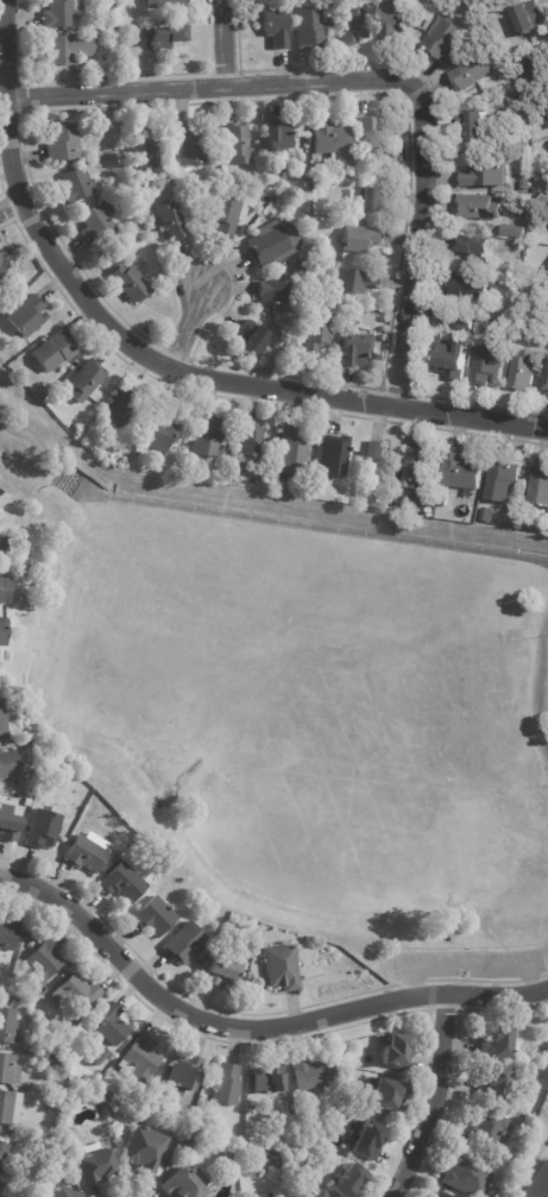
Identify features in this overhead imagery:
building: (165, 2)
building: (62, 12)
building: (525, 19)
building: (393, 20)
building: (352, 25)
building: (276, 26)
building: (309, 29)
building: (165, 34)
building: (442, 39)
road: (225, 42)
building: (67, 48)
building: (120, 49)
building: (535, 68)
building: (88, 71)
building: (468, 76)
road: (221, 83)
building: (547, 105)
building: (547, 112)
building: (472, 126)
building: (372, 136)
building: (277, 138)
road: (17, 140)
building: (330, 140)
building: (62, 144)
building: (235, 144)
building: (188, 149)
building: (144, 151)
building: (540, 166)
building: (317, 171)
building: (484, 177)
building: (166, 178)
building: (75, 187)
building: (303, 190)
building: (372, 200)
road: (13, 208)
building: (478, 208)
building: (223, 215)
building: (170, 222)
building: (96, 223)
building: (511, 229)
building: (360, 239)
building: (272, 244)
building: (475, 248)
road: (415, 256)
building: (113, 267)
building: (2, 275)
building: (353, 282)
building: (130, 284)
building: (467, 291)
building: (270, 292)
building: (491, 296)
building: (512, 300)
building: (352, 315)
building: (26, 316)
building: (465, 325)
building: (533, 330)
road: (191, 332)
building: (315, 338)
building: (254, 339)
building: (52, 351)
building: (355, 352)
building: (451, 360)
building: (489, 365)
building: (521, 371)
building: (84, 379)
building: (547, 390)
road: (284, 395)
building: (120, 407)
building: (160, 429)
building: (207, 435)
building: (248, 441)
building: (294, 451)
building: (334, 455)
building: (376, 458)
building: (461, 472)
building: (417, 474)
building: (500, 480)
building: (538, 486)
building: (392, 496)
building: (487, 514)
building: (4, 546)
building: (25, 566)
building: (5, 587)
building: (2, 629)
building: (2, 722)
park: (300, 725)
building: (8, 762)
building: (27, 800)
building: (7, 821)
building: (43, 827)
building: (87, 851)
building: (122, 881)
building: (155, 916)
building: (8, 932)
building: (184, 943)
building: (250, 947)
building: (11, 960)
building: (44, 960)
building: (281, 965)
road: (472, 968)
building: (221, 972)
building: (76, 991)
building: (7, 1023)
building: (109, 1025)
road: (248, 1028)
building: (498, 1040)
building: (396, 1050)
building: (100, 1057)
building: (141, 1058)
building: (51, 1061)
building: (8, 1069)
building: (184, 1072)
building: (311, 1072)
building: (269, 1079)
building: (493, 1081)
building: (226, 1083)
building: (384, 1092)
building: (124, 1097)
road: (435, 1097)
building: (52, 1104)
building: (10, 1107)
building: (185, 1117)
building: (484, 1129)
building: (327, 1135)
building: (190, 1139)
building: (369, 1141)
building: (1, 1146)
building: (145, 1149)
building: (239, 1151)
building: (283, 1159)
building: (92, 1165)
building: (467, 1174)
building: (31, 1178)
building: (348, 1180)
building: (181, 1184)
building: (538, 1184)
building: (58, 1192)
building: (314, 1193)
building: (262, 1195)
building: (440, 1196)

